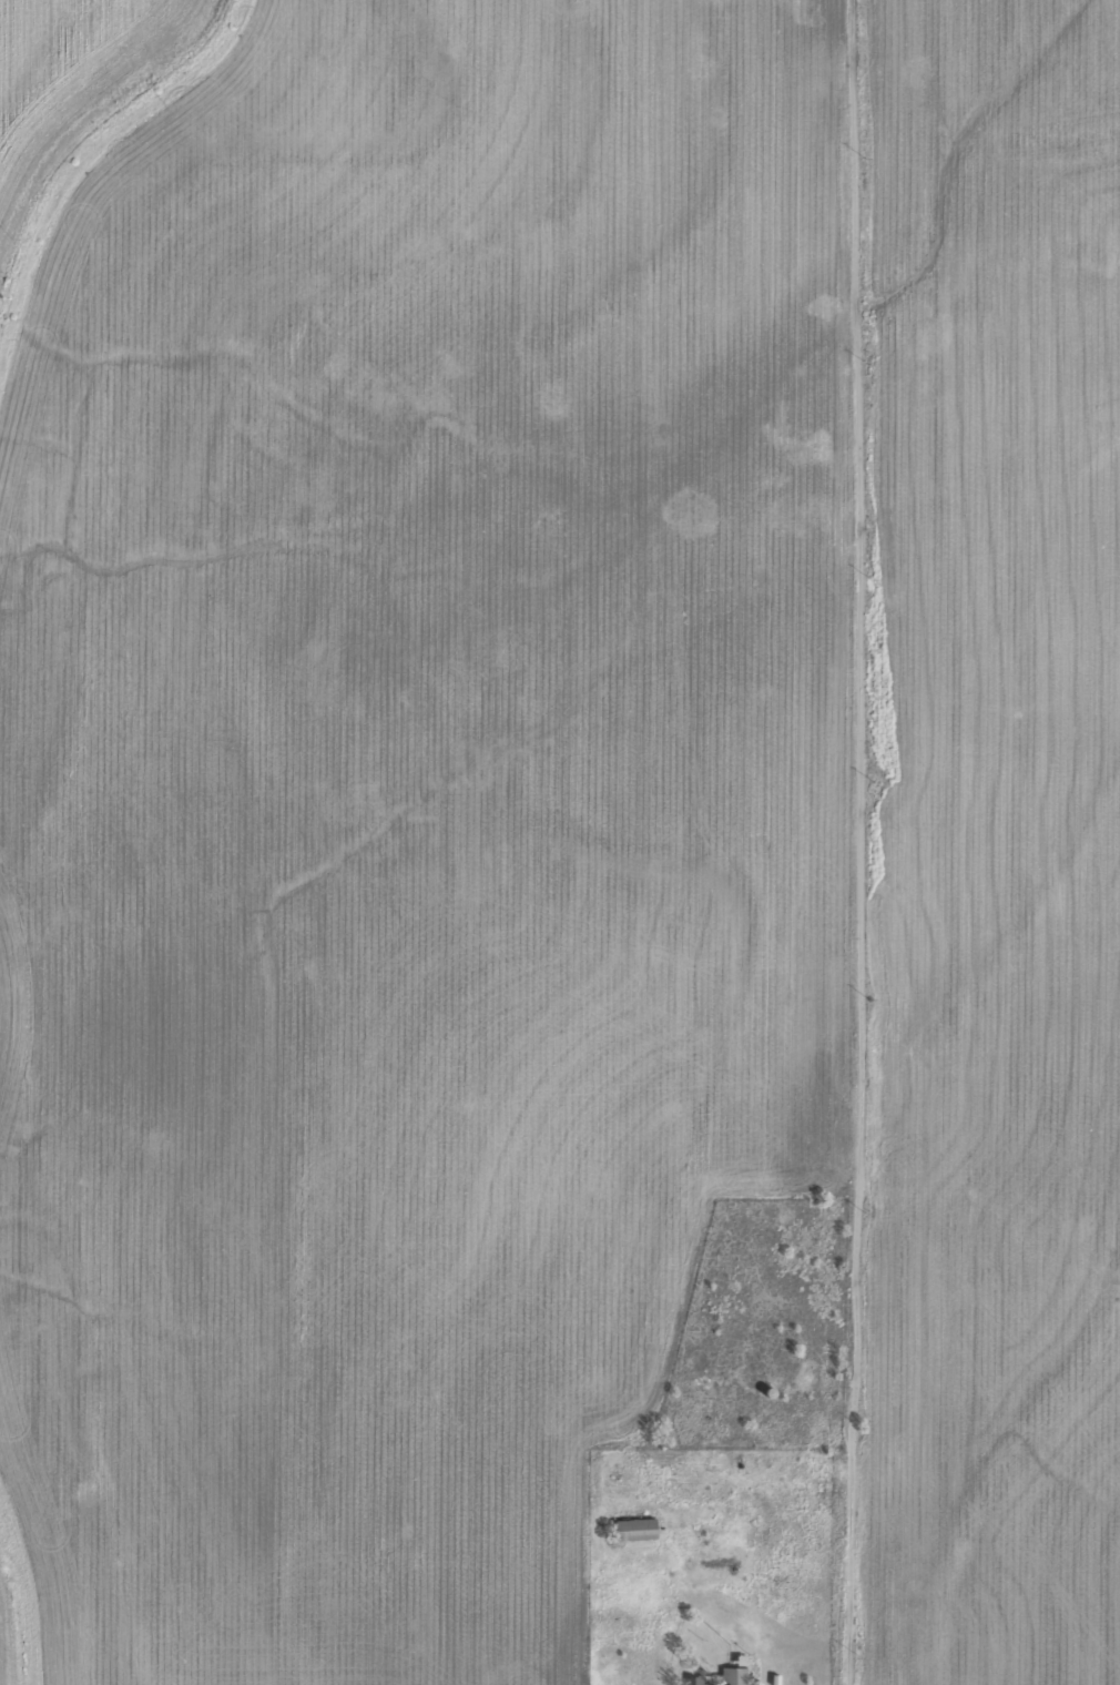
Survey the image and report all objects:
road: (987, 331)
road: (675, 522)
road: (862, 842)
road: (992, 1196)
building: (634, 1531)

